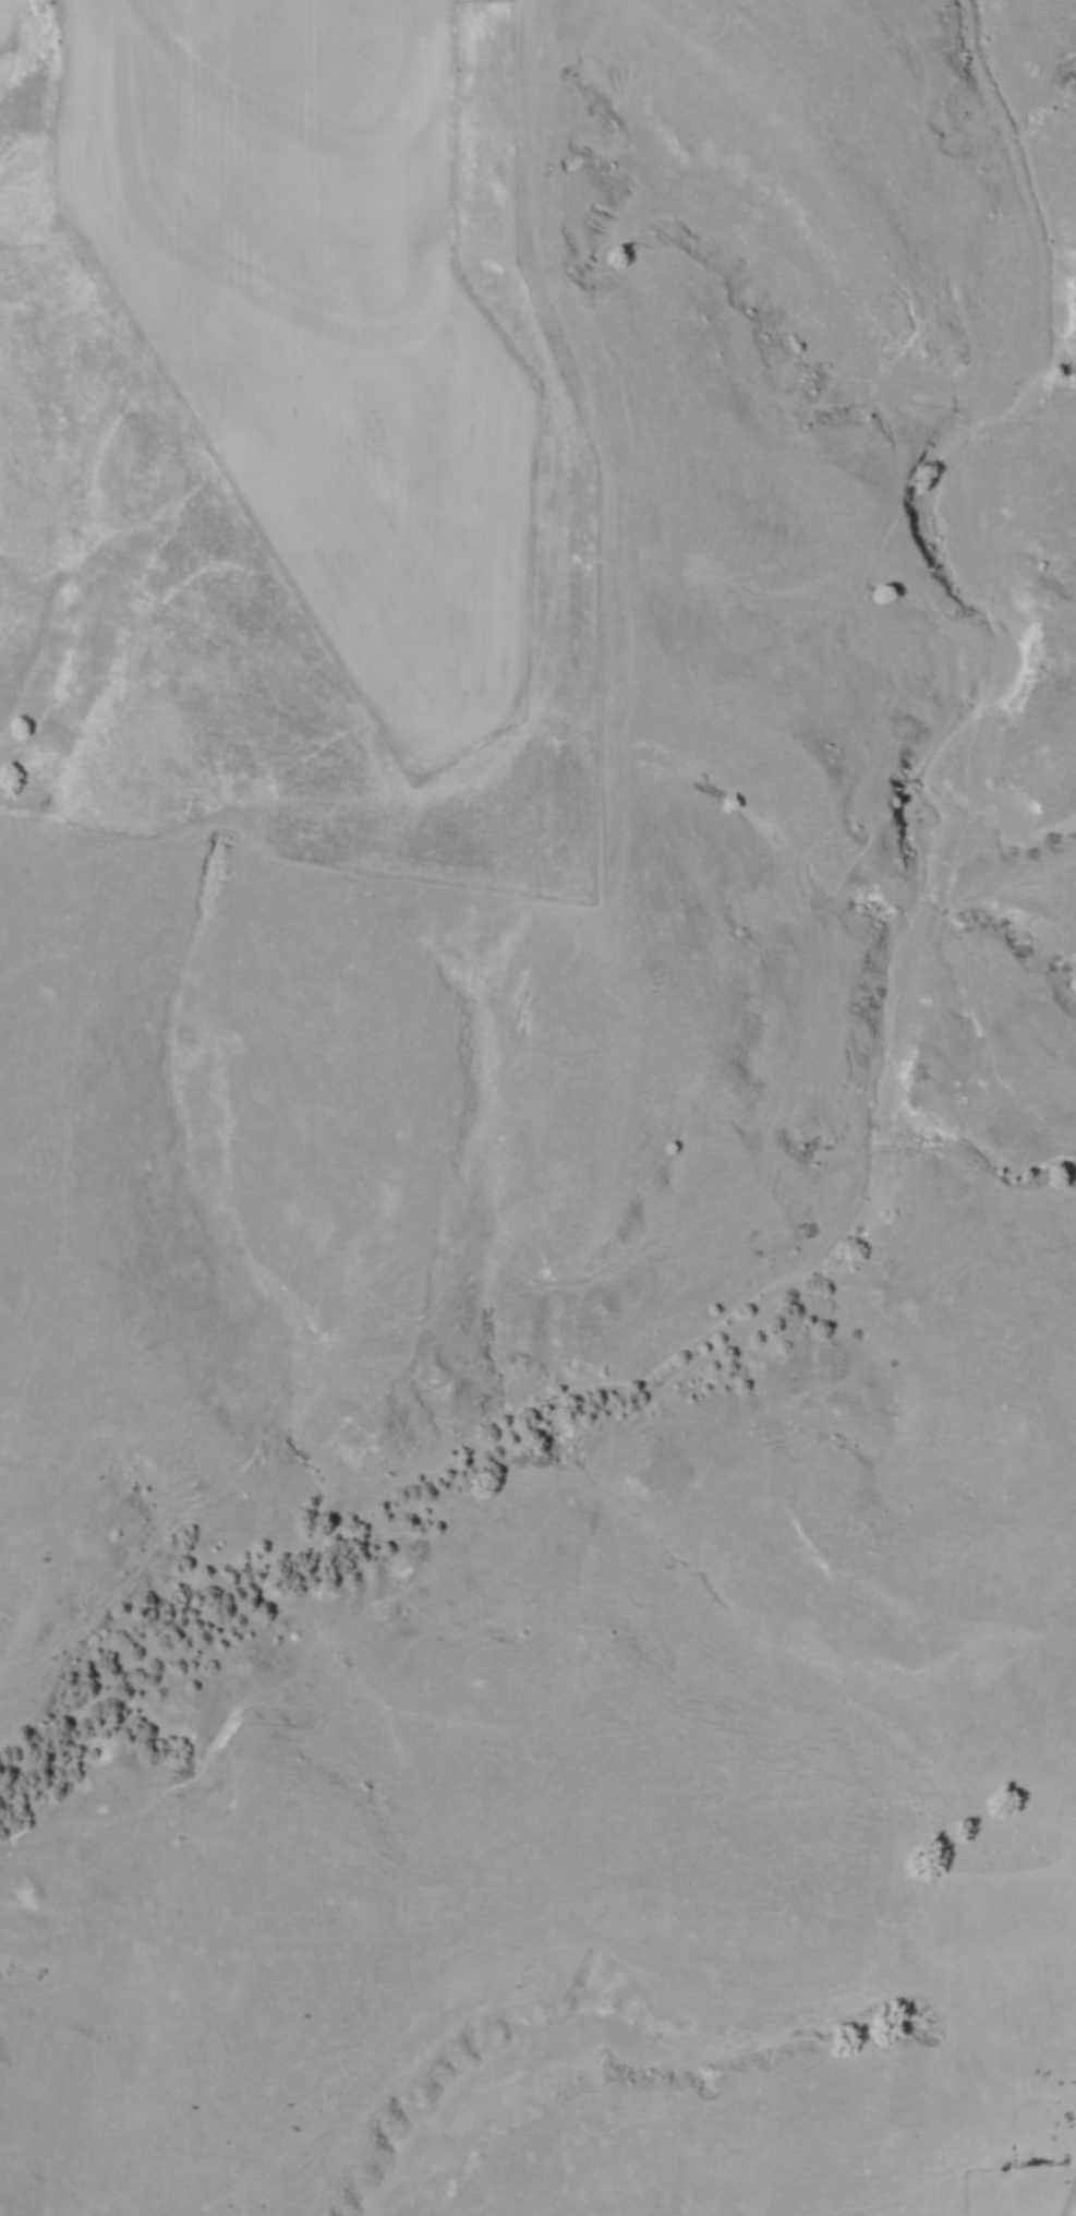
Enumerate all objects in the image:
crop: (1068, 2197)

